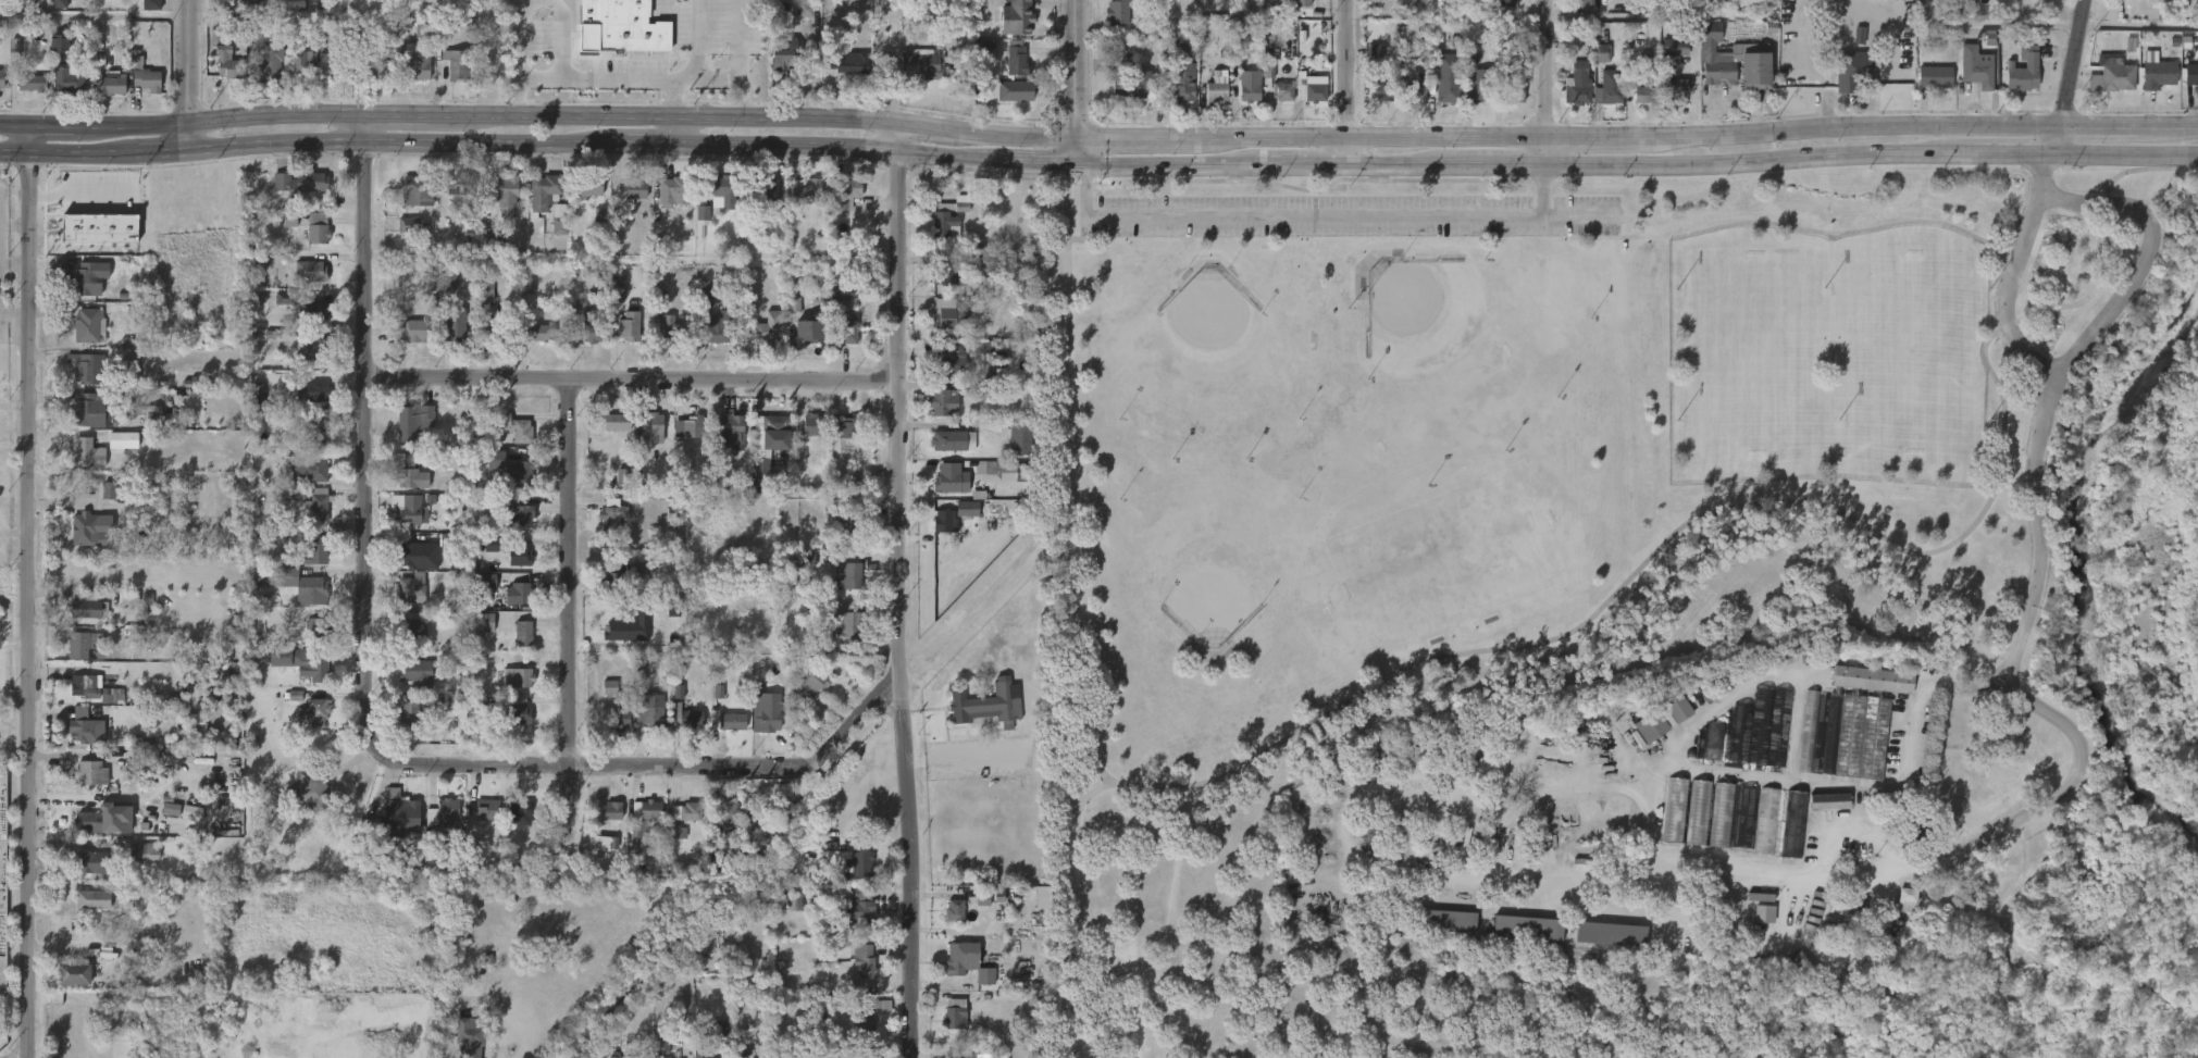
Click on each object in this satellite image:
road: (1837, 0)
building: (2132, 1)
building: (2172, 1)
building: (247, 3)
building: (1303, 3)
building: (1506, 3)
building: (1706, 3)
building: (1579, 4)
building: (861, 7)
building: (1288, 9)
building: (1493, 9)
building: (2197, 11)
building: (1116, 13)
building: (1259, 13)
road: (1662, 14)
building: (142, 15)
building: (1017, 18)
building: (624, 24)
road: (2053, 24)
road: (700, 38)
building: (1183, 41)
building: (1676, 49)
building: (1850, 49)
building: (417, 53)
building: (783, 53)
building: (51, 55)
building: (263, 57)
road: (520, 58)
road: (744, 58)
building: (1017, 60)
building: (1175, 60)
building: (1731, 60)
building: (849, 61)
building: (227, 64)
building: (456, 64)
building: (922, 64)
building: (315, 65)
building: (1592, 66)
building: (1974, 67)
road: (1076, 70)
building: (1663, 70)
building: (2021, 70)
building: (375, 71)
building: (775, 71)
building: (1007, 71)
building: (1853, 72)
building: (2191, 72)
building: (2111, 73)
road: (193, 74)
building: (216, 75)
building: (2158, 75)
building: (293, 76)
road: (632, 76)
building: (144, 77)
building: (448, 77)
building: (840, 77)
building: (914, 77)
building: (1448, 77)
building: (1934, 77)
road: (2069, 77)
building: (1114, 78)
road: (1870, 78)
building: (1, 79)
building: (409, 79)
building: (67, 80)
road: (1549, 80)
road: (1346, 82)
building: (1965, 82)
building: (2013, 84)
building: (30, 85)
building: (107, 85)
road: (1866, 85)
building: (2148, 85)
building: (1133, 86)
building: (1579, 86)
building: (1845, 86)
building: (1250, 87)
building: (1477, 87)
building: (1181, 88)
building: (1675, 88)
building: (2186, 88)
building: (2102, 89)
building: (136, 90)
building: (1281, 90)
building: (1925, 90)
building: (1438, 91)
building: (1309, 92)
building: (1382, 92)
building: (1607, 95)
building: (60, 96)
road: (673, 96)
building: (1018, 97)
building: (1568, 97)
building: (24, 98)
building: (100, 98)
road: (1847, 98)
building: (1123, 99)
building: (1241, 100)
building: (1466, 101)
building: (1667, 101)
building: (1302, 102)
building: (1370, 102)
building: (1006, 104)
building: (1274, 104)
building: (1207, 105)
road: (1866, 105)
building: (1406, 107)
building: (1505, 107)
road: (1827, 107)
building: (1634, 109)
road: (551, 116)
road: (13, 122)
road: (683, 130)
road: (1637, 136)
road: (27, 137)
road: (551, 146)
road: (13, 151)
road: (1076, 152)
road: (1637, 162)
building: (293, 184)
building: (460, 184)
building: (589, 186)
building: (633, 188)
building: (417, 189)
building: (723, 189)
building: (544, 190)
building: (673, 190)
building: (808, 190)
building: (847, 190)
building: (505, 192)
building: (765, 192)
building: (581, 201)
building: (447, 203)
building: (715, 203)
building: (535, 204)
building: (798, 204)
building: (409, 206)
building: (622, 206)
building: (662, 206)
building: (498, 210)
building: (701, 214)
road: (1313, 214)
parking lot: (1362, 214)
building: (949, 216)
building: (560, 219)
building: (694, 226)
building: (316, 227)
building: (551, 233)
road: (1828, 234)
building: (400, 239)
building: (936, 239)
building: (309, 241)
building: (495, 242)
road: (13, 265)
building: (311, 272)
building: (945, 273)
road: (2136, 273)
building: (89, 277)
building: (446, 281)
building: (303, 285)
building: (936, 288)
building: (276, 311)
building: (697, 311)
building: (315, 312)
building: (954, 315)
building: (842, 320)
building: (305, 322)
building: (452, 324)
building: (89, 325)
building: (630, 325)
building: (592, 326)
building: (937, 326)
building: (721, 327)
building: (671, 328)
building: (768, 328)
building: (413, 331)
building: (498, 331)
building: (541, 332)
building: (812, 333)
building: (834, 335)
building: (80, 339)
building: (446, 339)
building: (622, 339)
building: (662, 341)
building: (711, 341)
building: (759, 343)
building: (403, 344)
building: (584, 344)
building: (800, 345)
building: (531, 346)
building: (312, 352)
park: (1911, 352)
park: (1750, 354)
building: (951, 359)
building: (87, 369)
building: (940, 372)
road: (631, 379)
building: (77, 382)
building: (316, 391)
building: (944, 401)
building: (307, 406)
park: (1334, 409)
building: (89, 410)
building: (935, 415)
building: (413, 420)
building: (617, 422)
building: (812, 424)
building: (80, 426)
building: (693, 426)
building: (512, 427)
building: (650, 428)
building: (846, 428)
building: (732, 431)
road: (362, 434)
building: (406, 434)
building: (608, 436)
building: (123, 439)
building: (802, 439)
building: (681, 440)
building: (953, 440)
building: (1018, 440)
building: (508, 441)
building: (641, 441)
building: (836, 441)
building: (312, 444)
building: (768, 444)
building: (723, 446)
building: (86, 453)
building: (115, 453)
building: (944, 453)
building: (1010, 453)
building: (79, 466)
building: (313, 468)
building: (675, 470)
building: (411, 473)
building: (487, 473)
building: (519, 474)
building: (953, 478)
building: (301, 484)
building: (511, 488)
building: (611, 490)
building: (112, 491)
building: (405, 491)
building: (942, 491)
road: (1769, 498)
building: (101, 500)
building: (316, 503)
building: (409, 510)
building: (993, 510)
building: (520, 515)
building: (309, 518)
building: (611, 518)
building: (401, 522)
building: (958, 522)
building: (848, 525)
building: (510, 528)
building: (85, 530)
building: (837, 538)
building: (415, 548)
building: (314, 550)
building: (519, 556)
building: (306, 562)
park: (1432, 562)
building: (399, 568)
building: (511, 569)
building: (845, 572)
building: (264, 576)
building: (632, 582)
building: (307, 585)
road: (903, 588)
building: (840, 589)
building: (409, 592)
building: (518, 594)
building: (605, 597)
building: (302, 603)
road: (28, 605)
building: (87, 607)
building: (508, 607)
park: (1627, 608)
road: (574, 613)
road: (1089, 618)
park: (1624, 620)
building: (79, 622)
building: (845, 622)
building: (316, 627)
building: (411, 630)
building: (626, 631)
building: (522, 634)
building: (834, 634)
building: (619, 643)
building: (406, 644)
building: (86, 645)
building: (514, 647)
building: (313, 662)
building: (417, 674)
road: (2008, 674)
building: (293, 677)
road: (1763, 677)
building: (517, 679)
building: (1876, 680)
building: (812, 681)
building: (85, 684)
building: (407, 685)
building: (509, 692)
building: (1863, 693)
building: (804, 695)
building: (80, 700)
building: (600, 701)
building: (437, 702)
building: (311, 705)
building: (709, 705)
building: (985, 706)
building: (1678, 709)
building: (517, 710)
building: (765, 710)
building: (407, 713)
building: (649, 717)
building: (690, 717)
building: (619, 720)
building: (510, 722)
building: (731, 722)
building: (757, 723)
building: (307, 725)
building: (1650, 725)
building: (84, 727)
building: (400, 727)
building: (1762, 727)
building: (644, 730)
building: (678, 731)
building: (611, 733)
building: (723, 735)
building: (1845, 735)
building: (190, 737)
building: (77, 739)
building: (1713, 740)
road: (1907, 744)
road: (971, 760)
road: (1662, 768)
road: (655, 769)
building: (89, 773)
building: (83, 785)
building: (309, 792)
building: (302, 806)
building: (487, 810)
building: (519, 810)
building: (1675, 810)
building: (686, 812)
building: (1699, 812)
building: (399, 814)
building: (1723, 814)
building: (1821, 814)
building: (1746, 817)
building: (443, 818)
building: (727, 818)
building: (89, 821)
building: (643, 821)
building: (1766, 821)
building: (163, 822)
building: (512, 823)
building: (1665, 823)
building: (480, 824)
building: (603, 824)
building: (681, 824)
building: (1690, 824)
building: (1793, 824)
building: (184, 825)
building: (721, 827)
building: (1713, 827)
building: (1737, 830)
building: (634, 835)
building: (1785, 837)
building: (142, 851)
building: (593, 856)
building: (861, 863)
building: (90, 864)
building: (136, 864)
building: (372, 867)
building: (83, 875)
building: (853, 877)
building: (1907, 899)
building: (91, 900)
building: (861, 911)
building: (955, 911)
building: (85, 912)
building: (973, 912)
building: (1897, 912)
building: (786, 914)
building: (849, 920)
building: (946, 923)
building: (1755, 926)
building: (1439, 934)
building: (1518, 941)
building: (1602, 947)
building: (1863, 955)
building: (866, 959)
building: (1809, 962)
building: (968, 963)
building: (73, 973)
building: (855, 973)
building: (958, 975)
building: (65, 987)
building: (955, 1015)
building: (864, 1019)
building: (946, 1026)
building: (138, 1029)
building: (856, 1036)
building: (469, 1037)
building: (710, 1041)
building: (102, 1050)
building: (967, 1053)
building: (654, 1055)
building: (1066, 1055)
building: (613, 1057)
building: (665, 1057)

